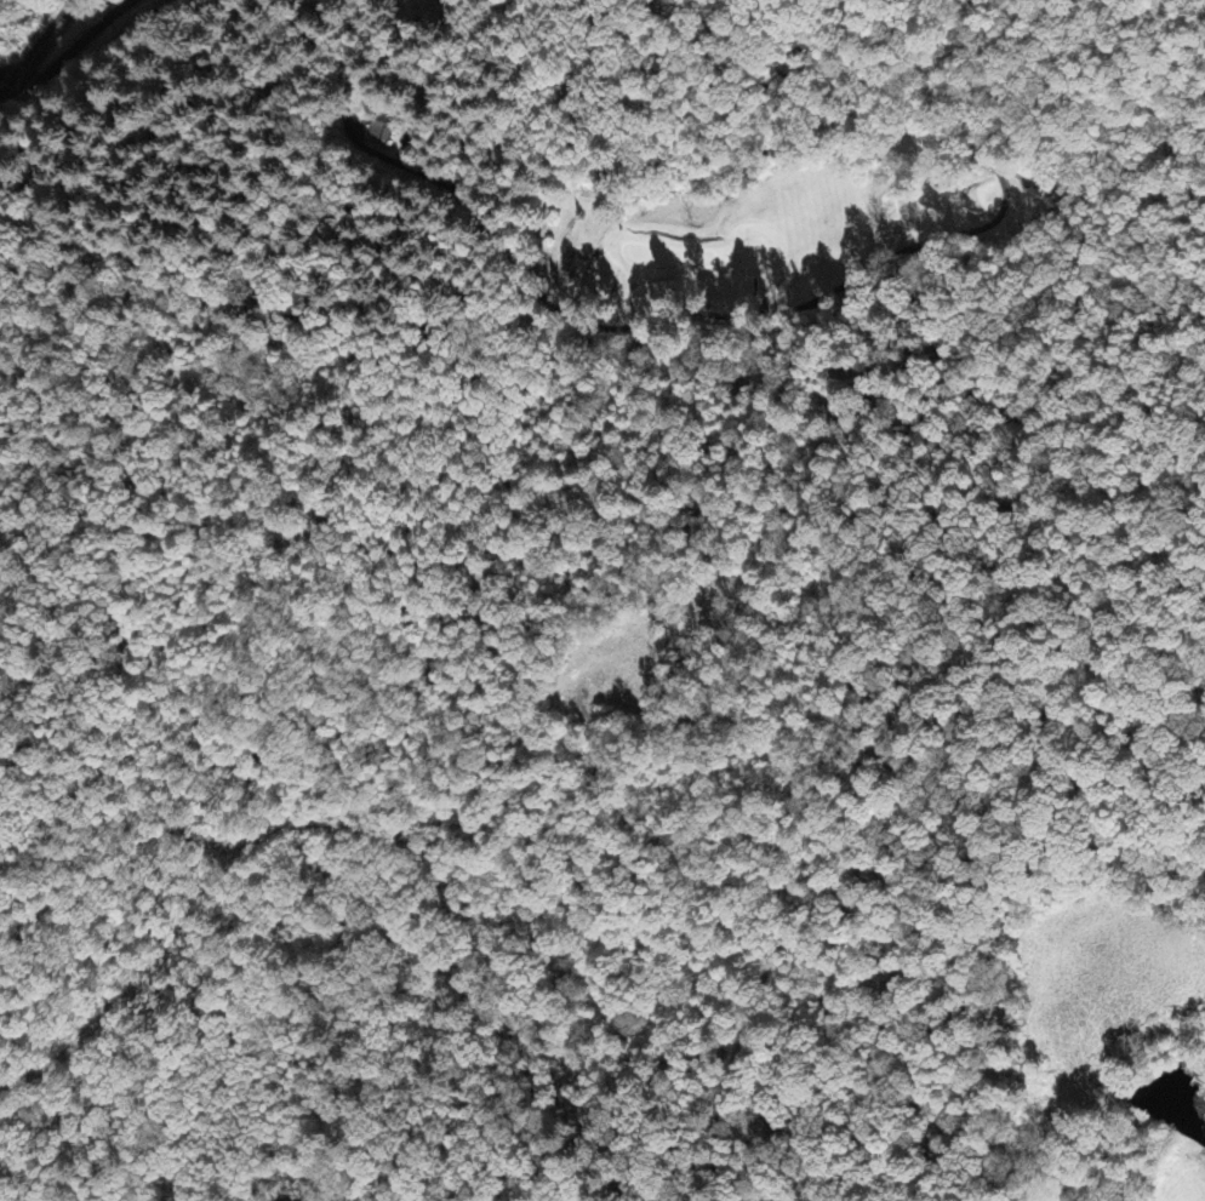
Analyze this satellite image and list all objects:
road: (36, 45)
building: (381, 130)
park: (781, 185)

